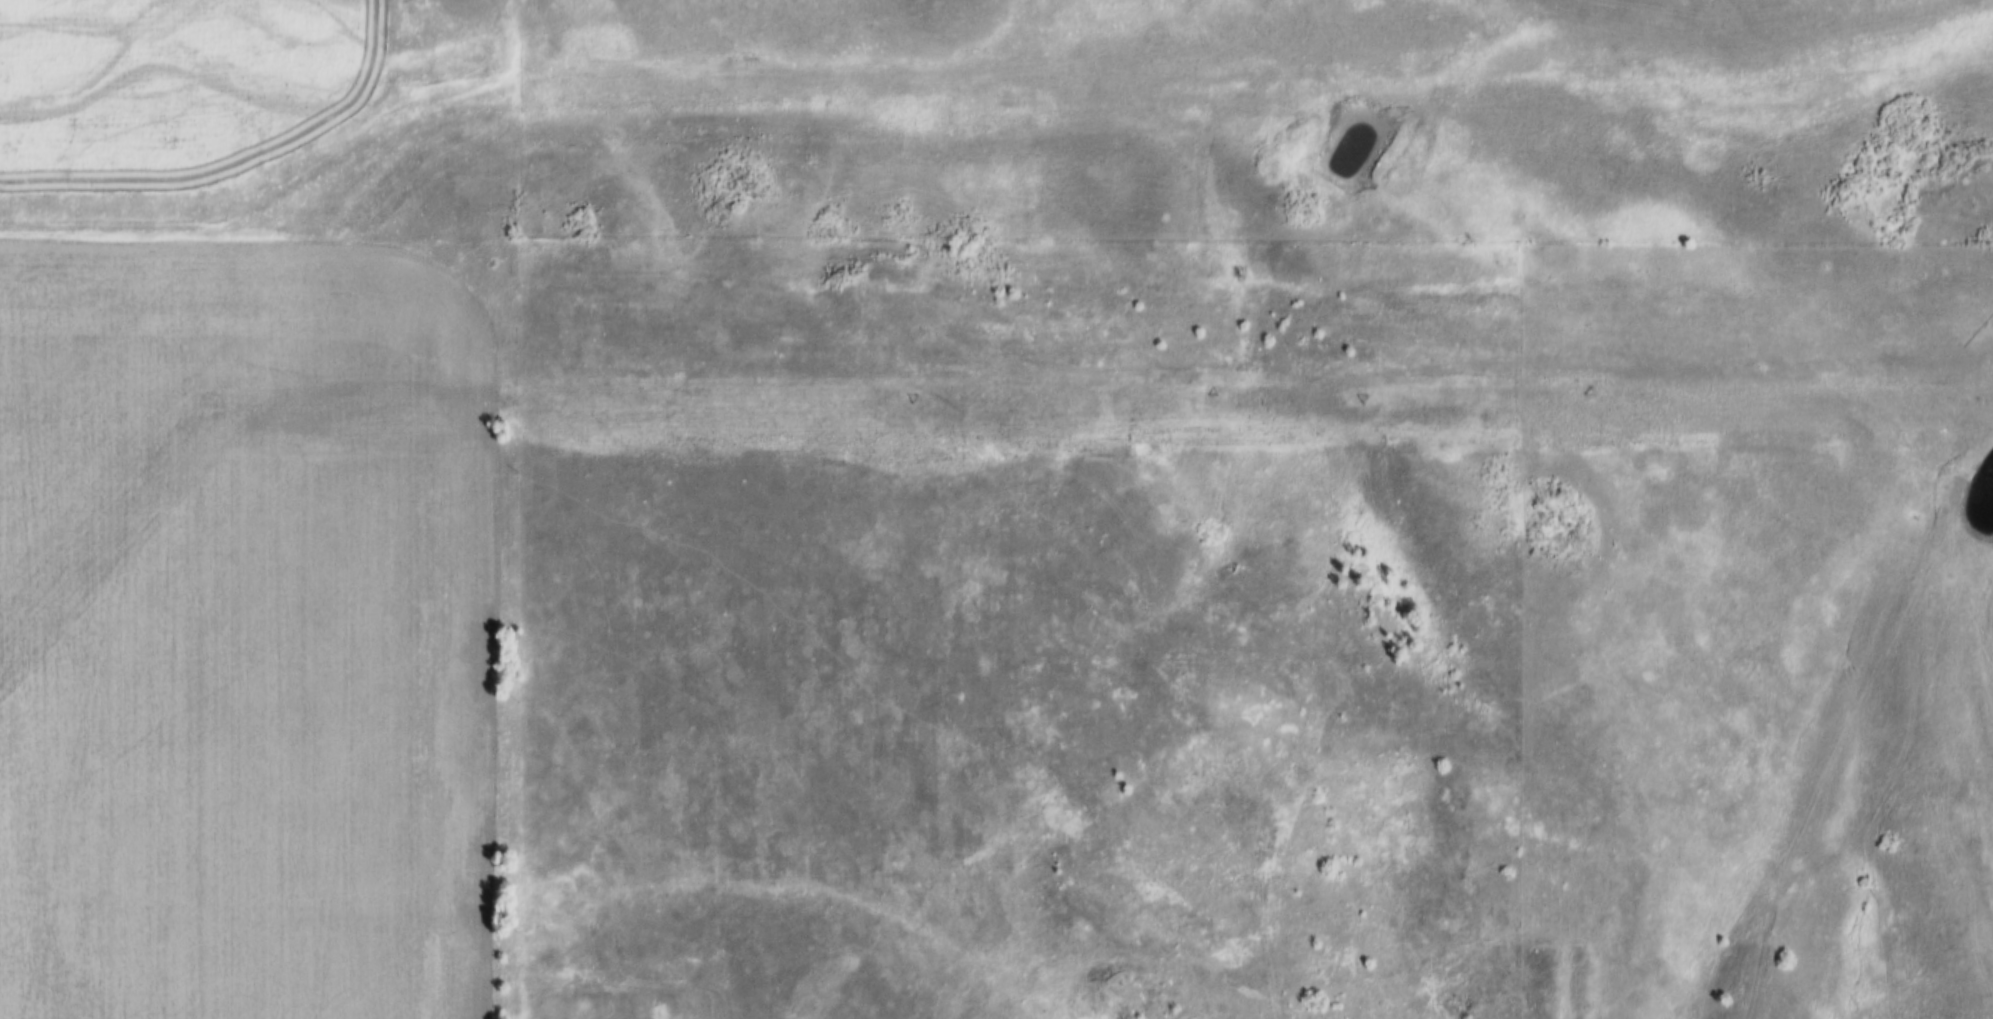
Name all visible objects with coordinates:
road: (1878, 656)
road: (638, 982)

